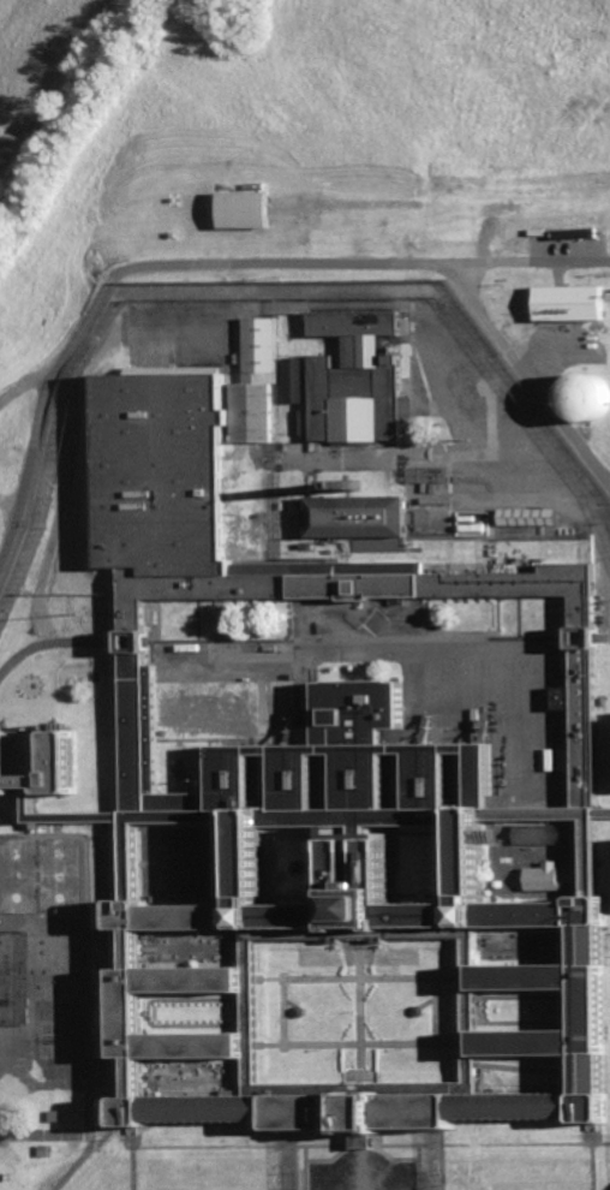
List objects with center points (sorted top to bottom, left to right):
building: (246, 207)
building: (174, 232)
building: (569, 302)
building: (297, 379)
building: (257, 381)
building: (358, 381)
building: (586, 394)
building: (527, 516)
building: (361, 520)
building: (471, 523)
building: (310, 797)
building: (537, 833)
park: (17, 875)
park: (59, 875)
building: (101, 922)
building: (41, 945)
building: (103, 974)
building: (421, 1008)
building: (301, 1010)
building: (52, 1114)
building: (42, 1150)

